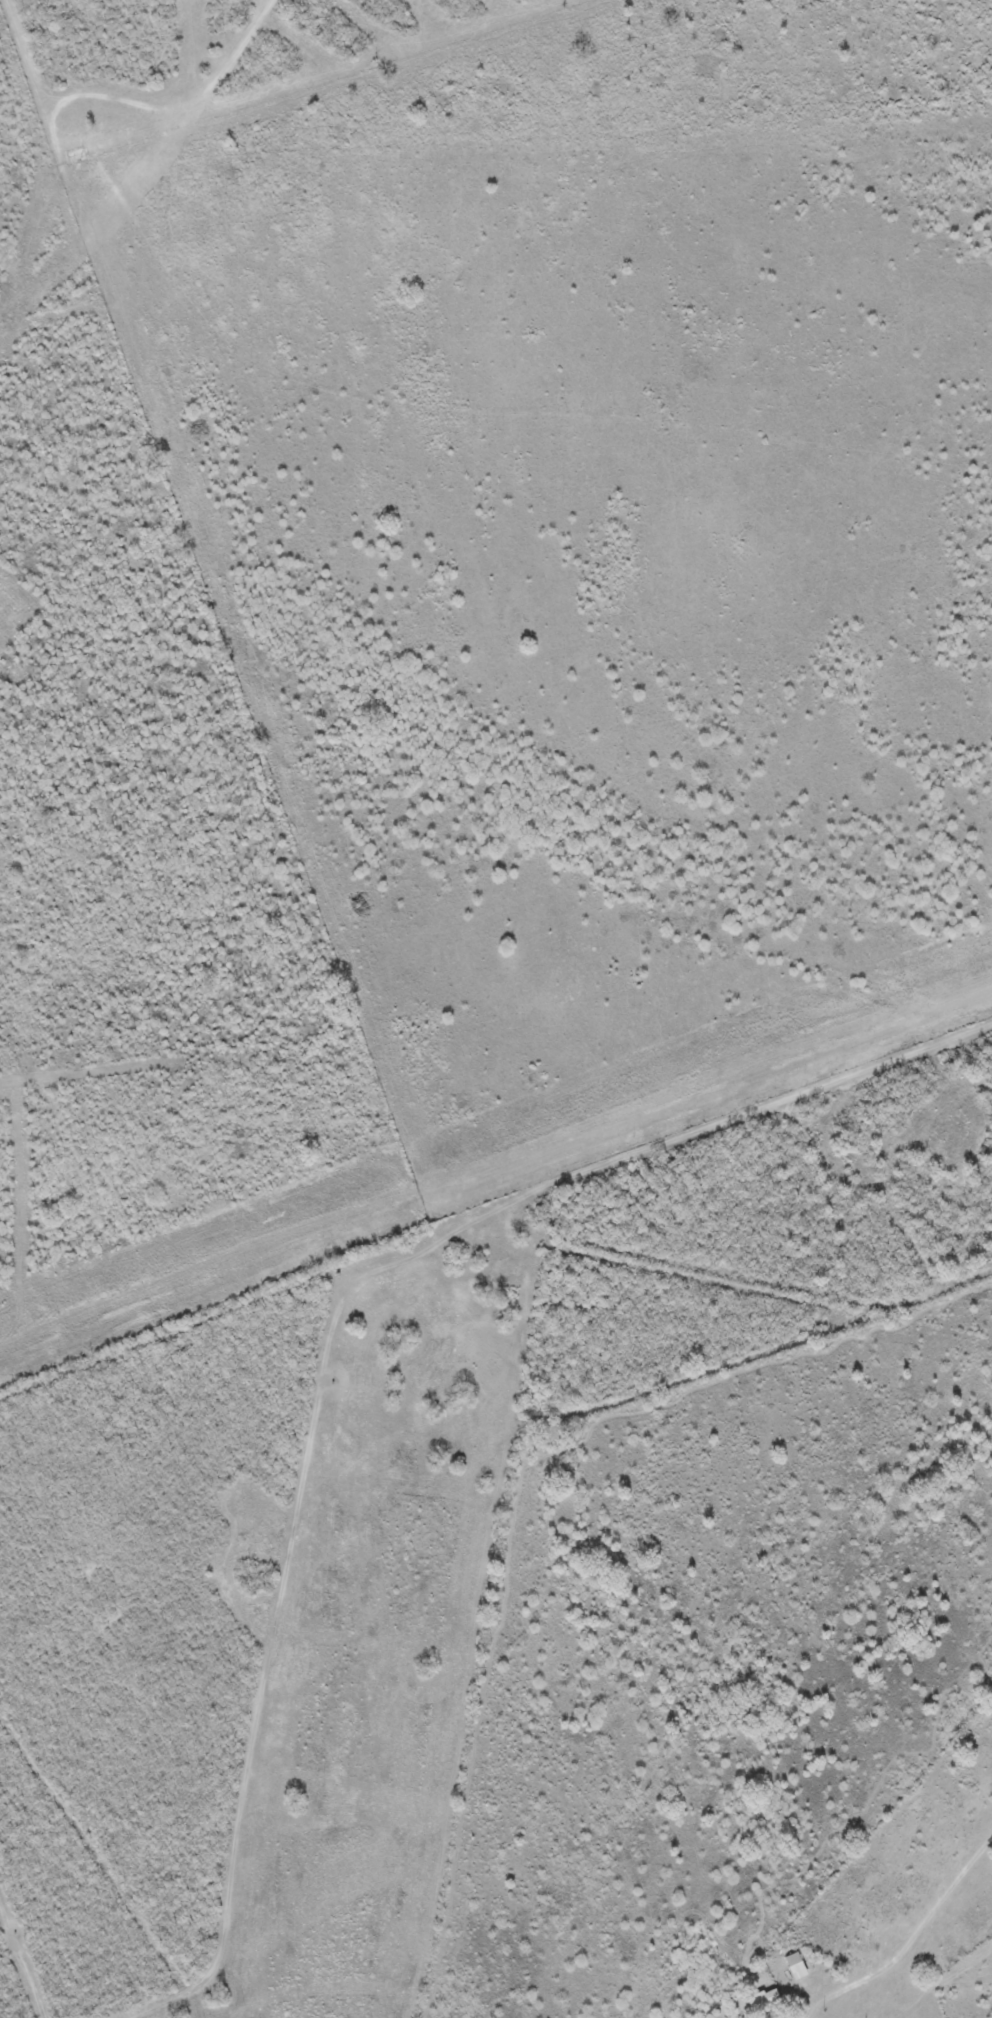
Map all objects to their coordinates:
building: (792, 1960)
building: (763, 1996)

